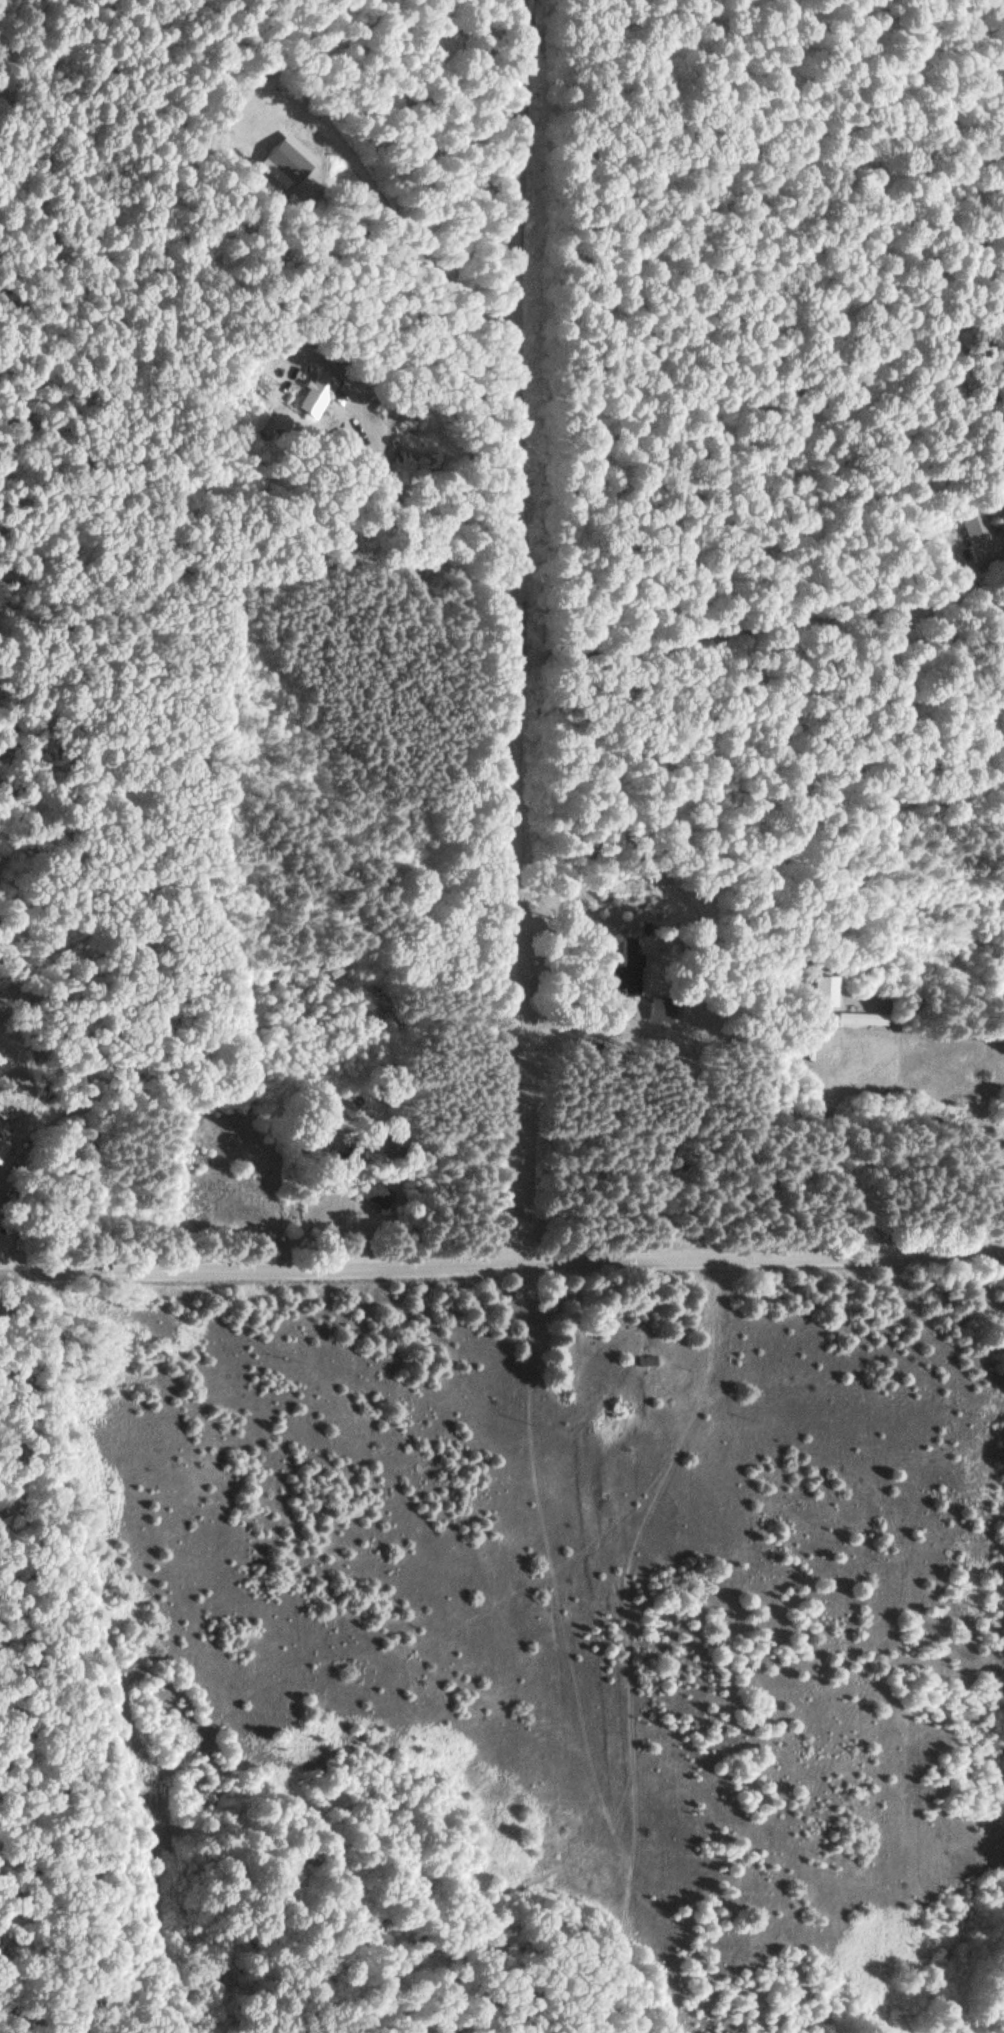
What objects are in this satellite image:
building: (290, 158)
building: (318, 393)
building: (978, 534)
road: (522, 631)
building: (630, 971)
building: (828, 990)
building: (665, 1007)
building: (866, 1018)
building: (5, 1147)
building: (375, 1193)
road: (501, 1262)
building: (557, 1293)
building: (647, 1359)

